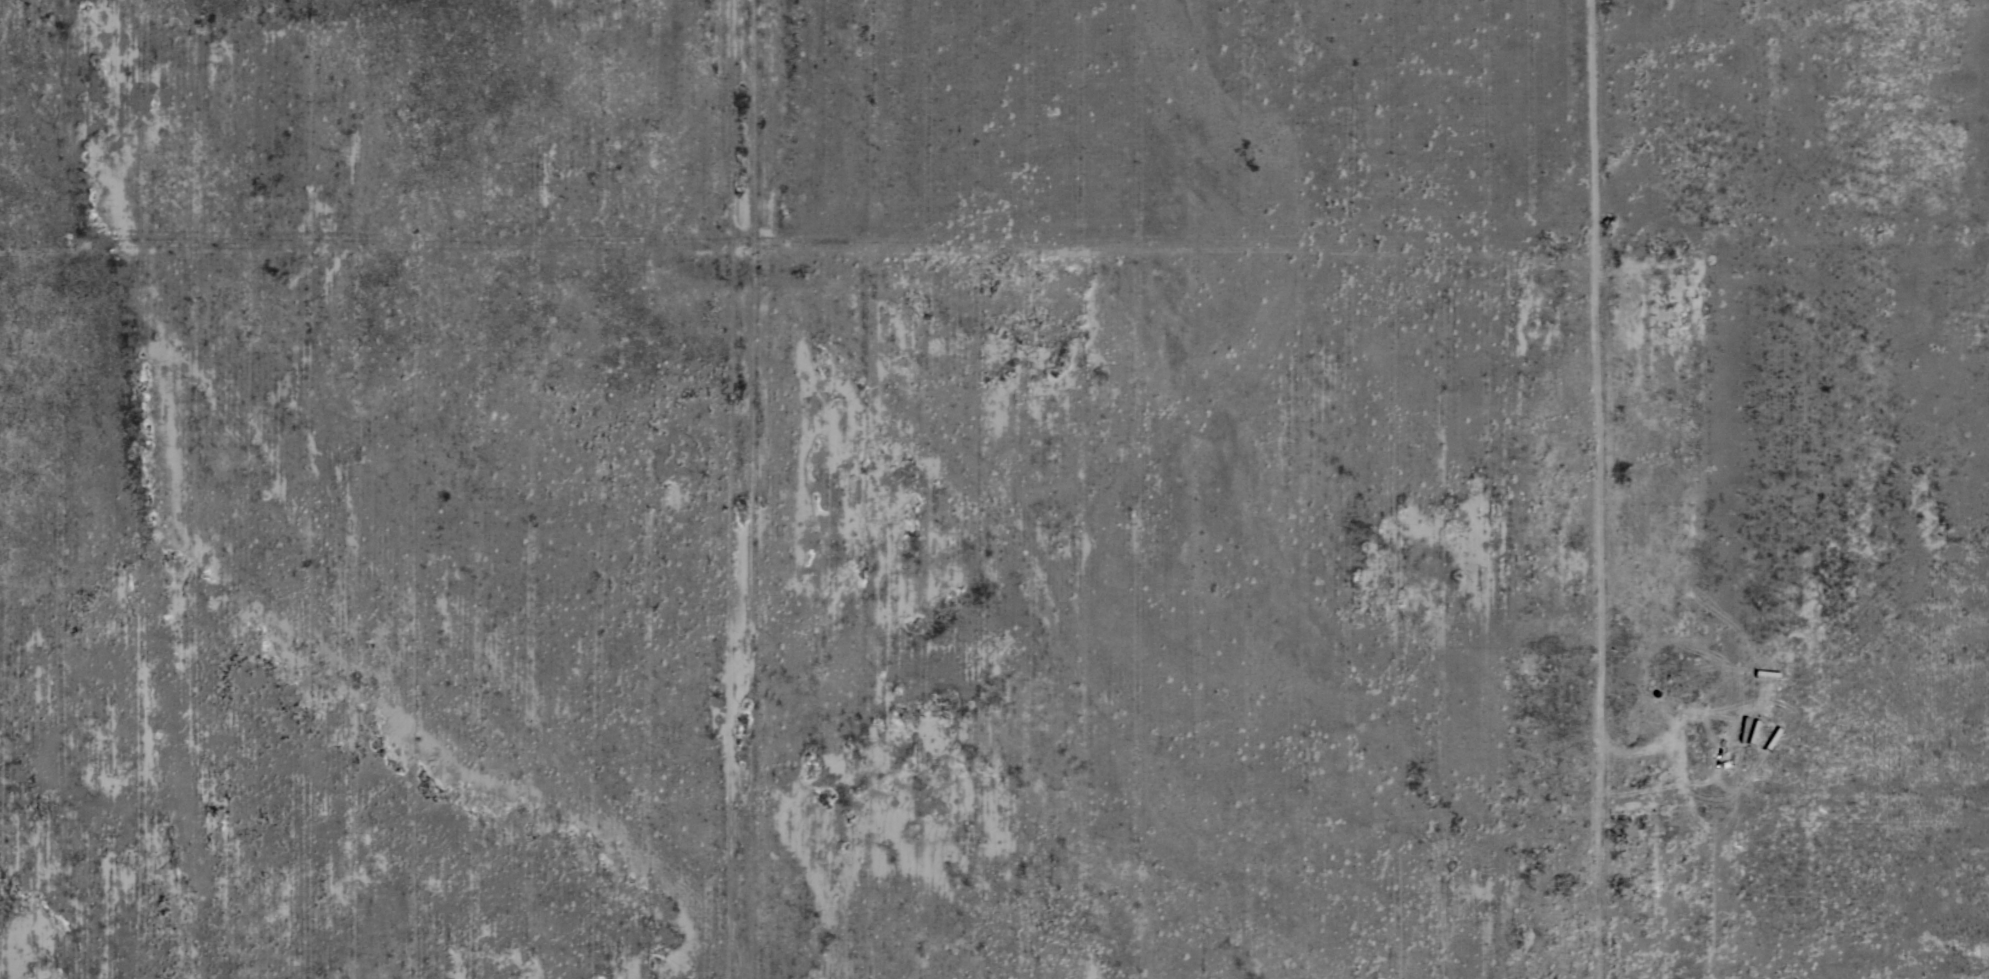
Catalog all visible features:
road: (690, 377)

